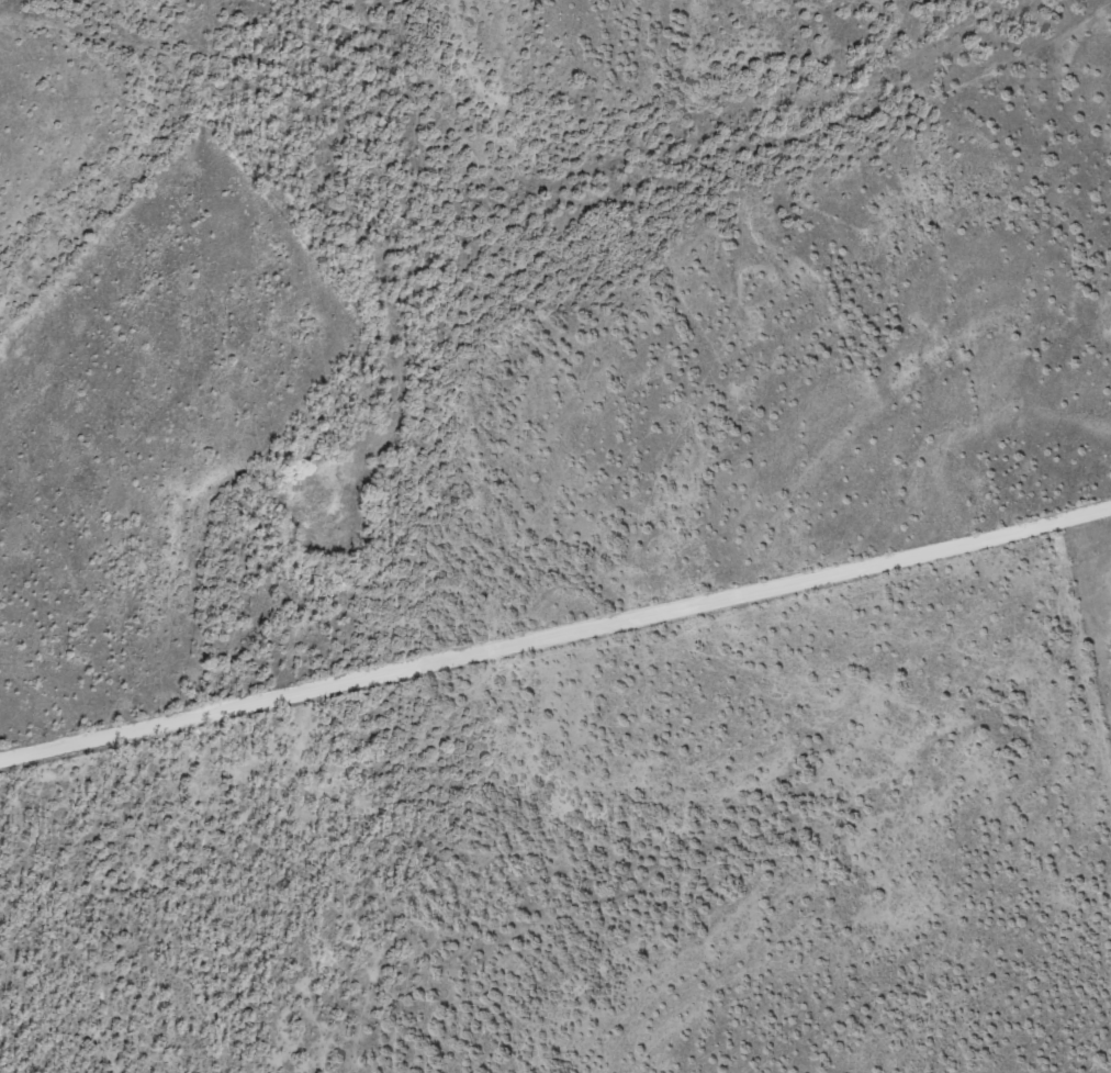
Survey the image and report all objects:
road: (555, 635)

